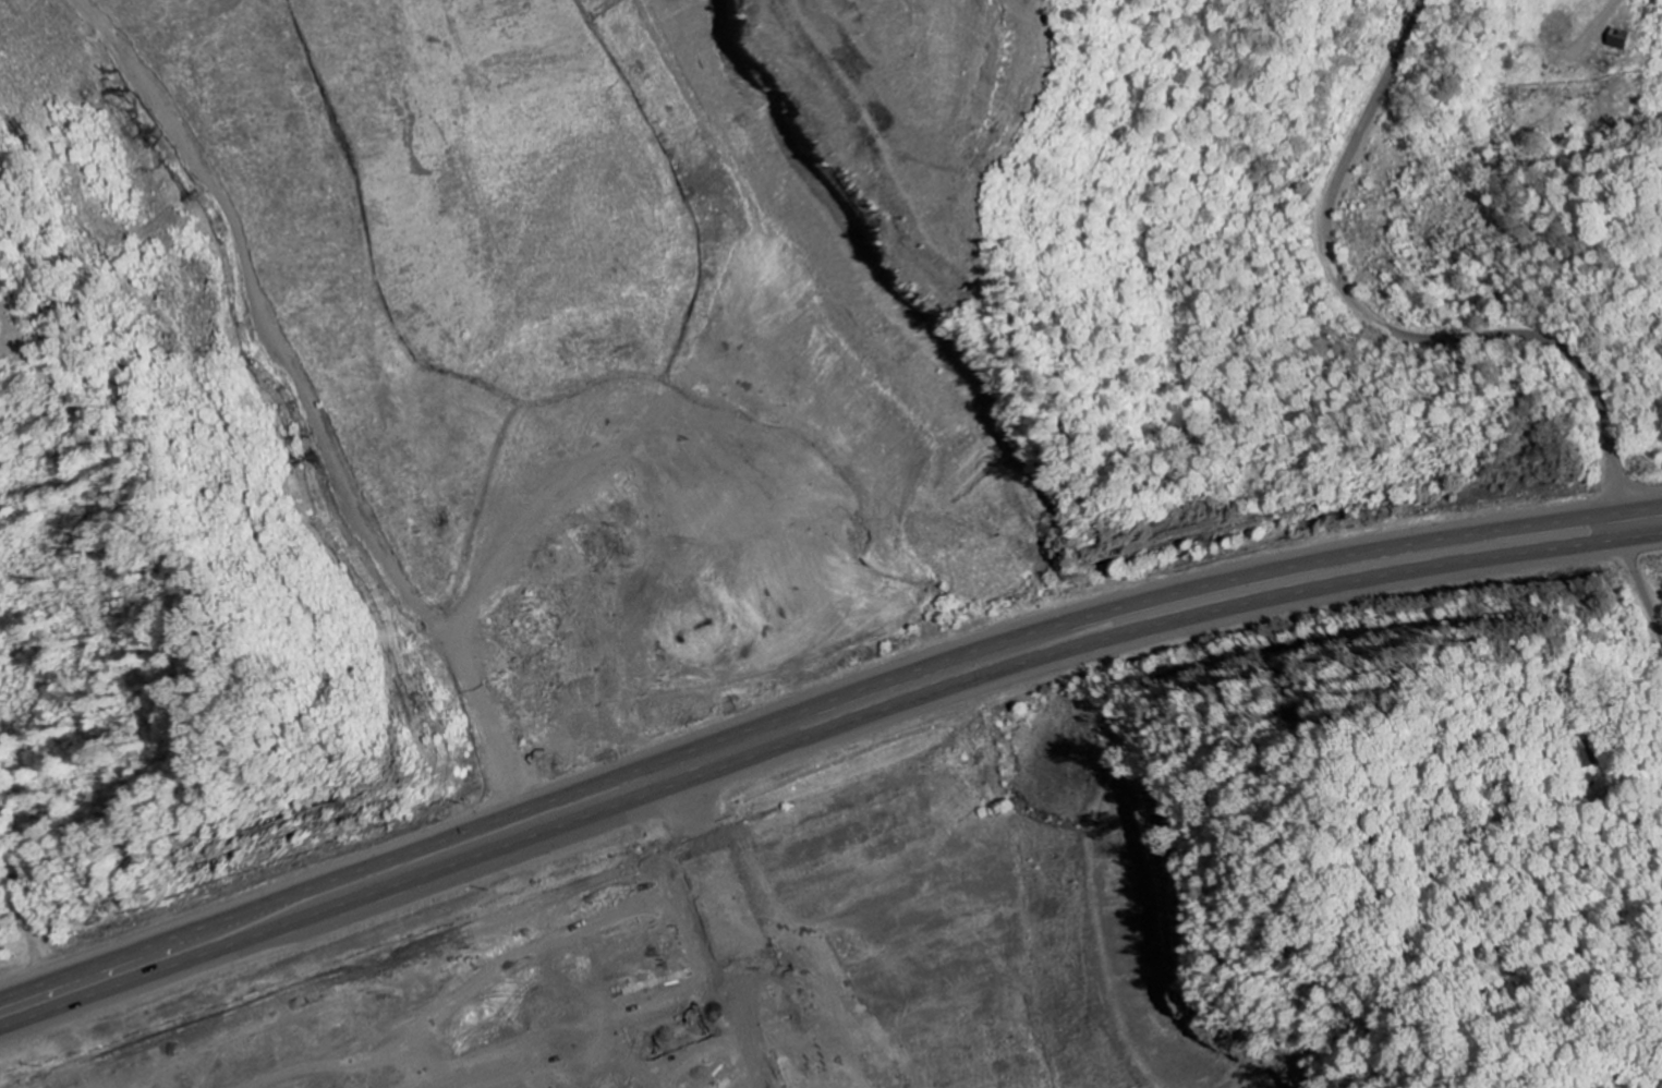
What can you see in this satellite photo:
road: (1443, 341)
road: (817, 701)
road: (817, 737)
road: (1634, 818)
building: (147, 1086)

